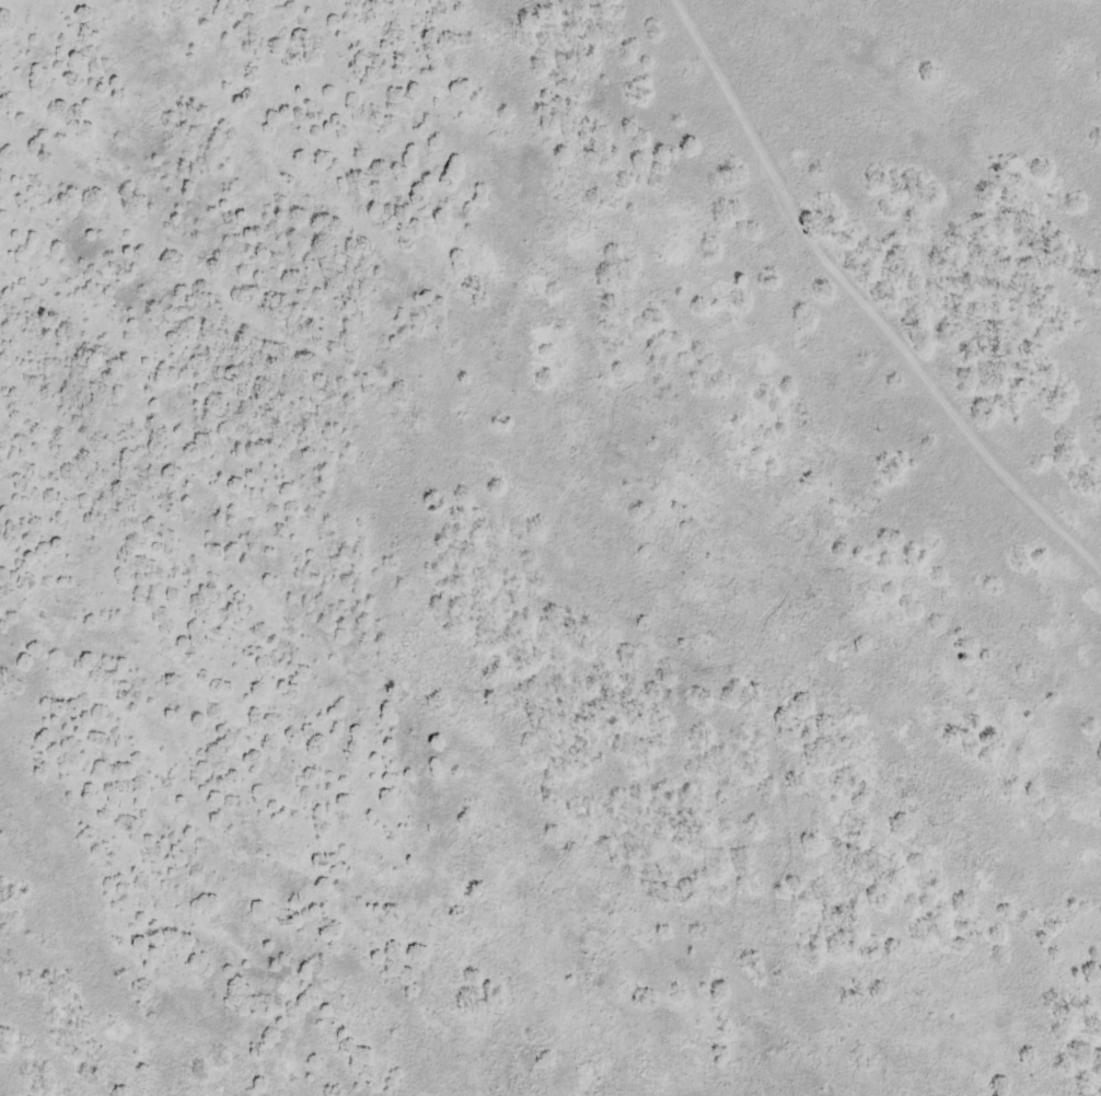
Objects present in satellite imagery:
road: (874, 280)

